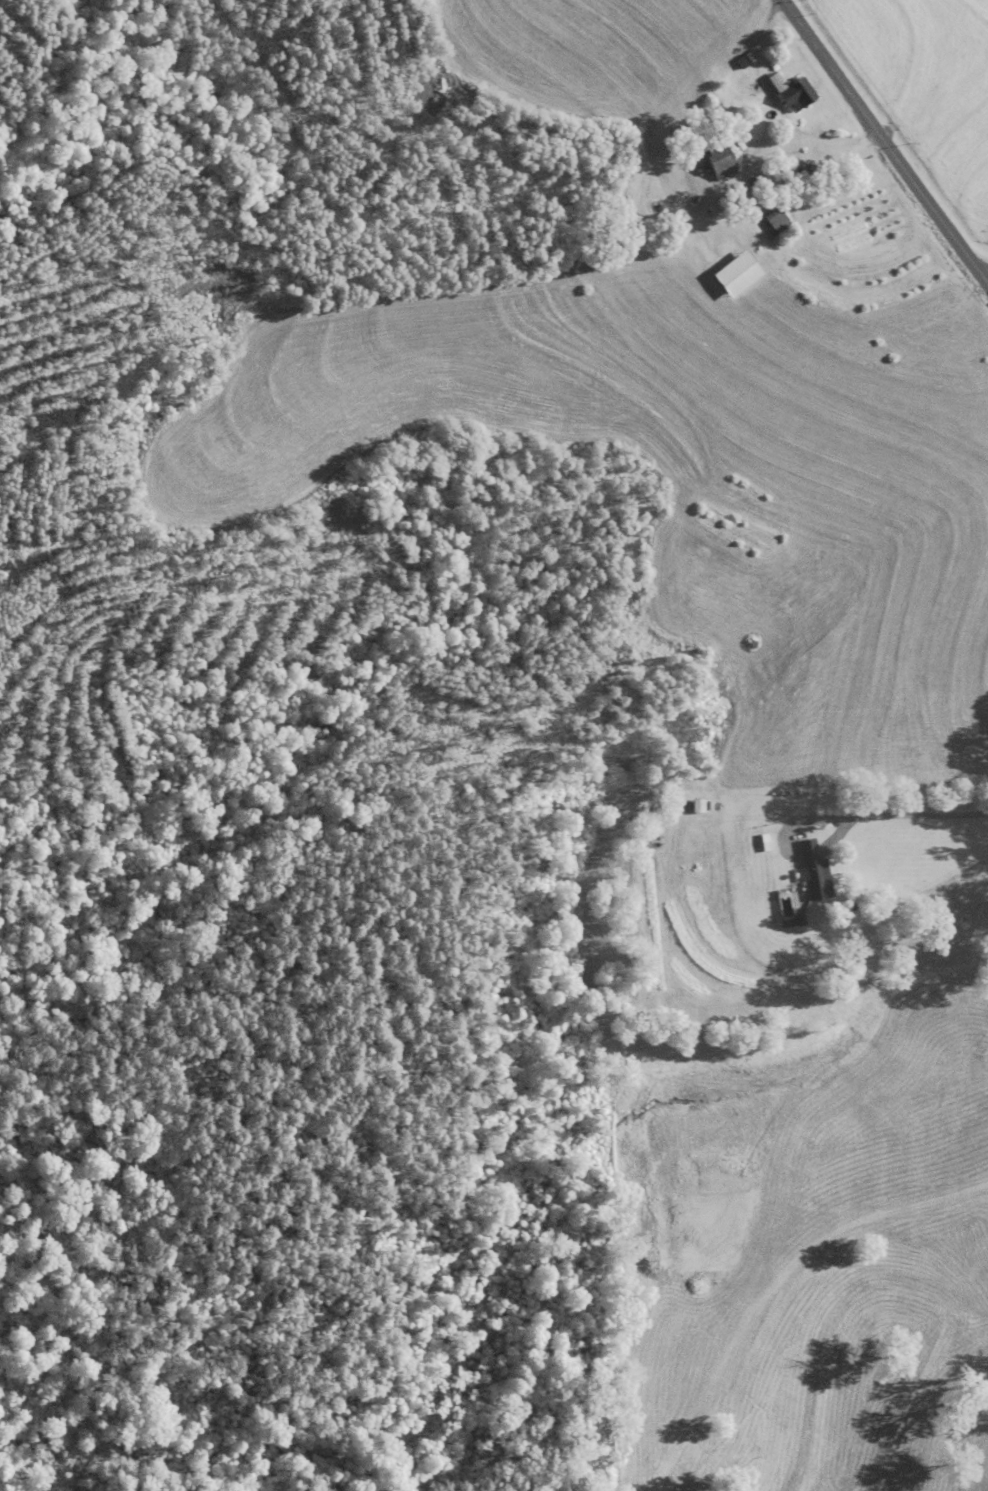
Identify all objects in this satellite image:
building: (793, 92)
road: (883, 142)
building: (721, 162)
building: (764, 184)
building: (778, 223)
road: (986, 280)
road: (874, 819)
building: (814, 874)
building: (644, 1447)

